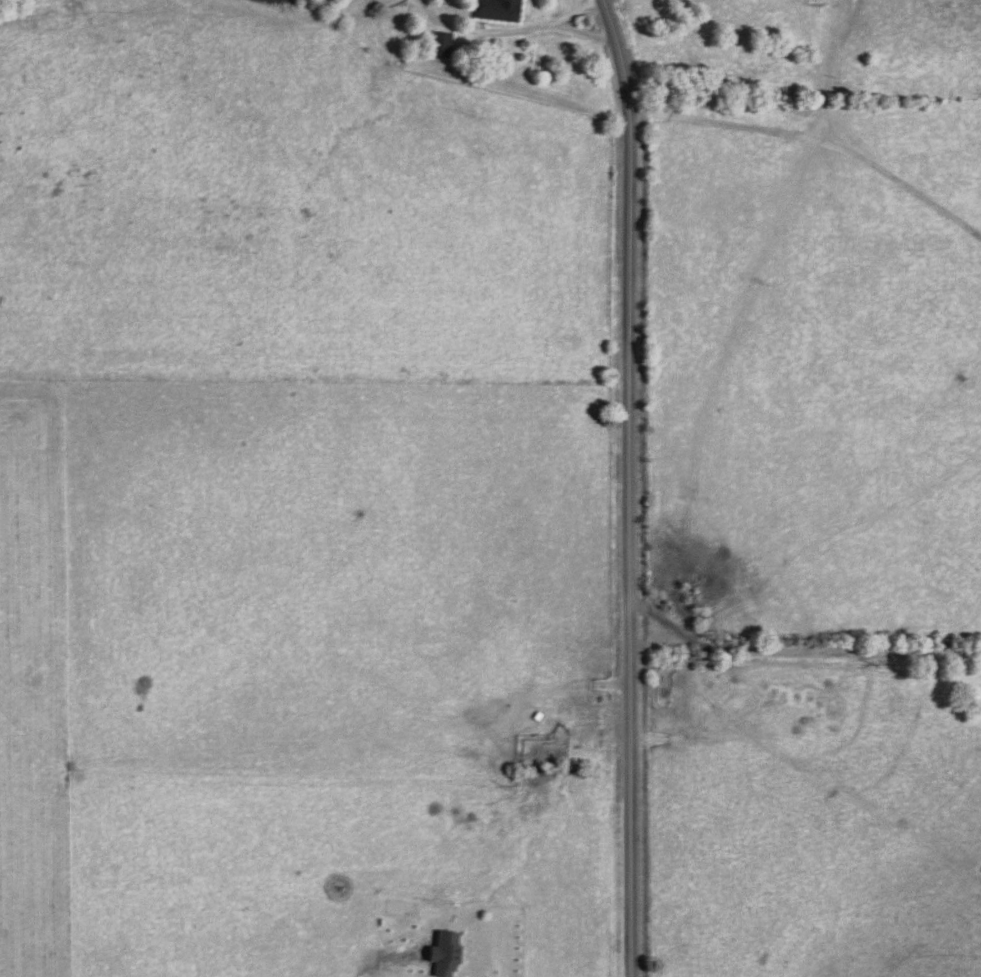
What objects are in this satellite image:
building: (499, 10)
road: (513, 34)
road: (583, 35)
road: (633, 487)
road: (678, 671)
road: (796, 674)
building: (447, 954)

